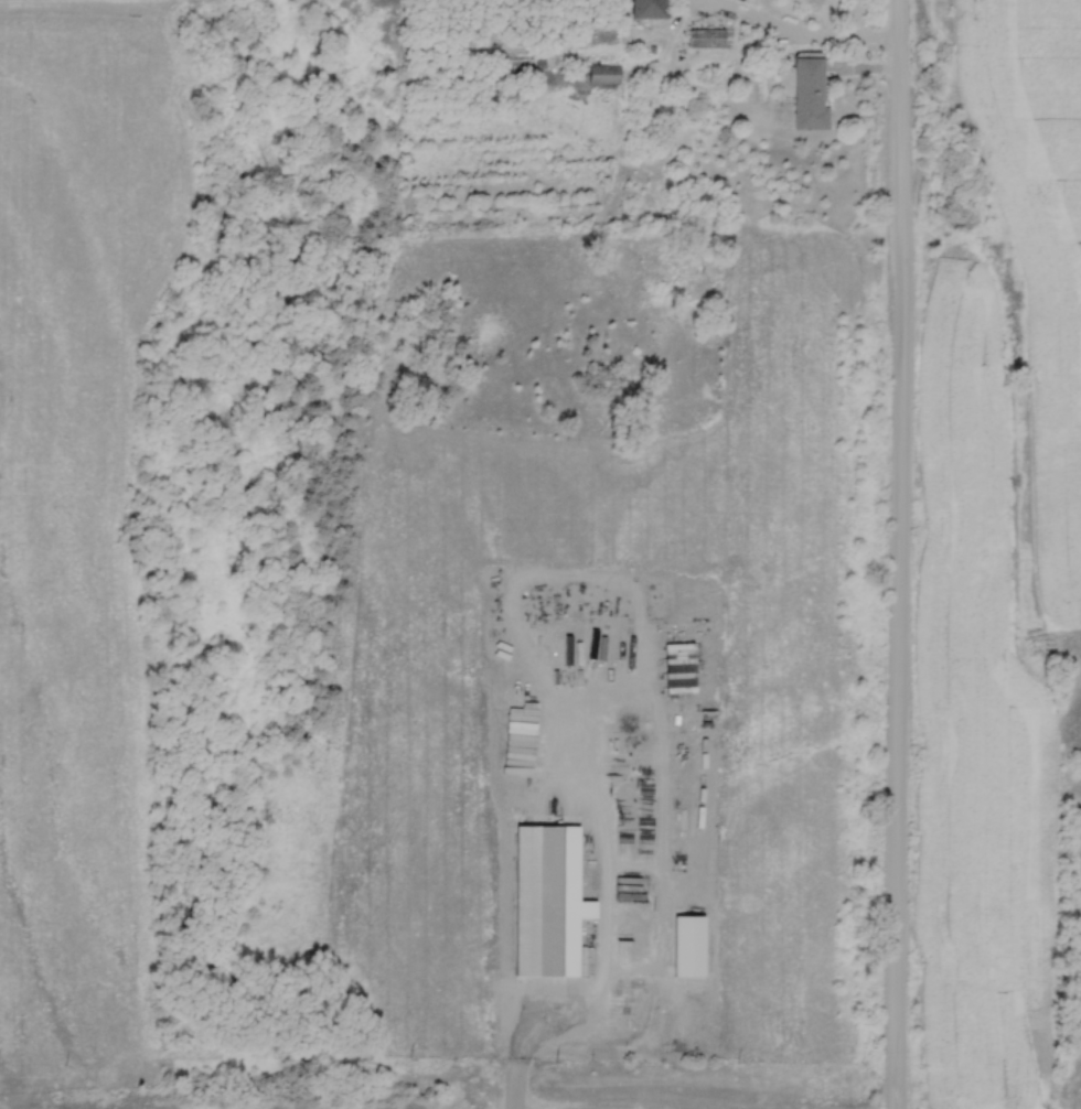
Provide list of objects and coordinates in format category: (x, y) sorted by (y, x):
building: (645, 9)
road: (766, 25)
building: (706, 39)
building: (602, 77)
building: (807, 95)
road: (895, 553)
building: (678, 669)
building: (547, 903)
building: (688, 946)
road: (550, 1030)

